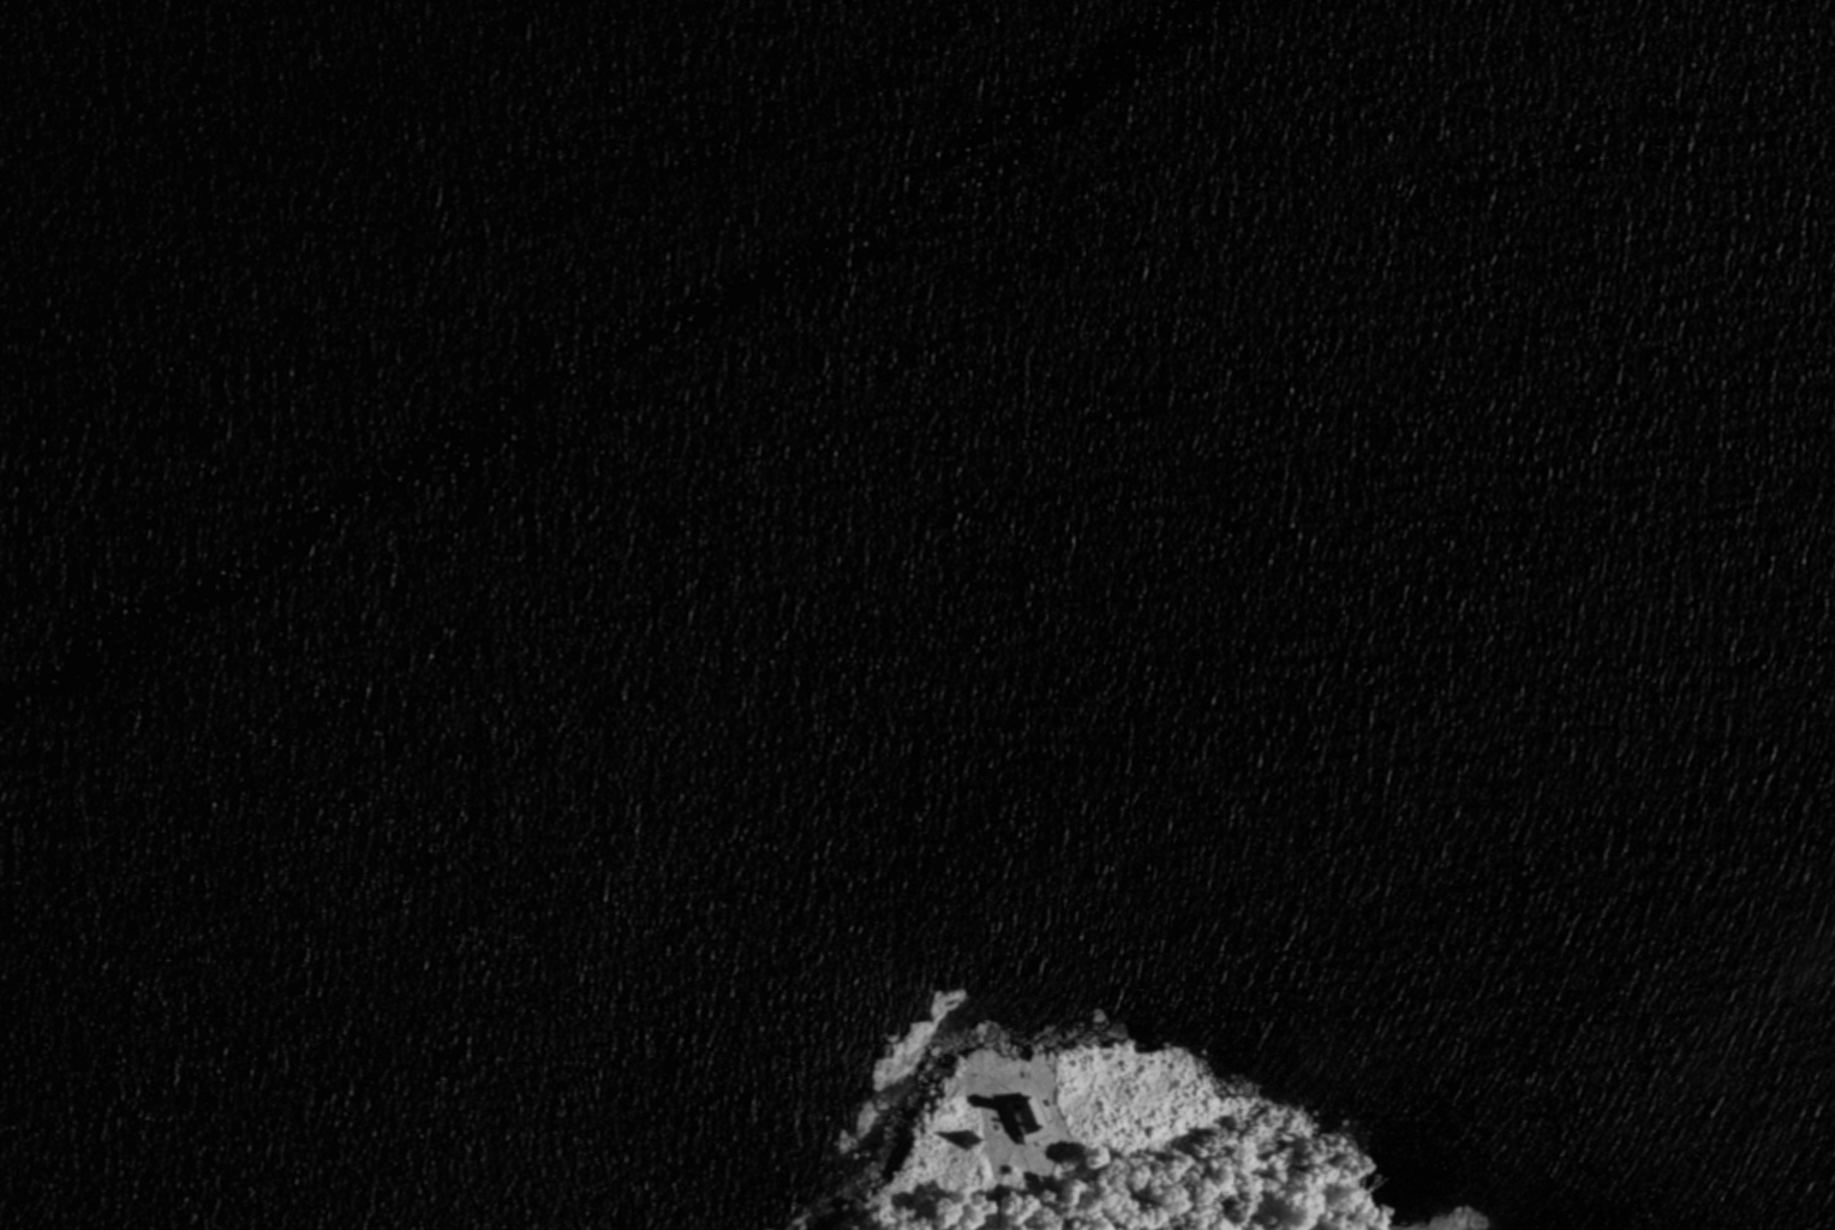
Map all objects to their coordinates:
road: (987, 1077)
lighthouse: (1015, 1110)
building: (1017, 1119)
road: (1022, 1160)
building: (1032, 1178)
road: (997, 1184)

